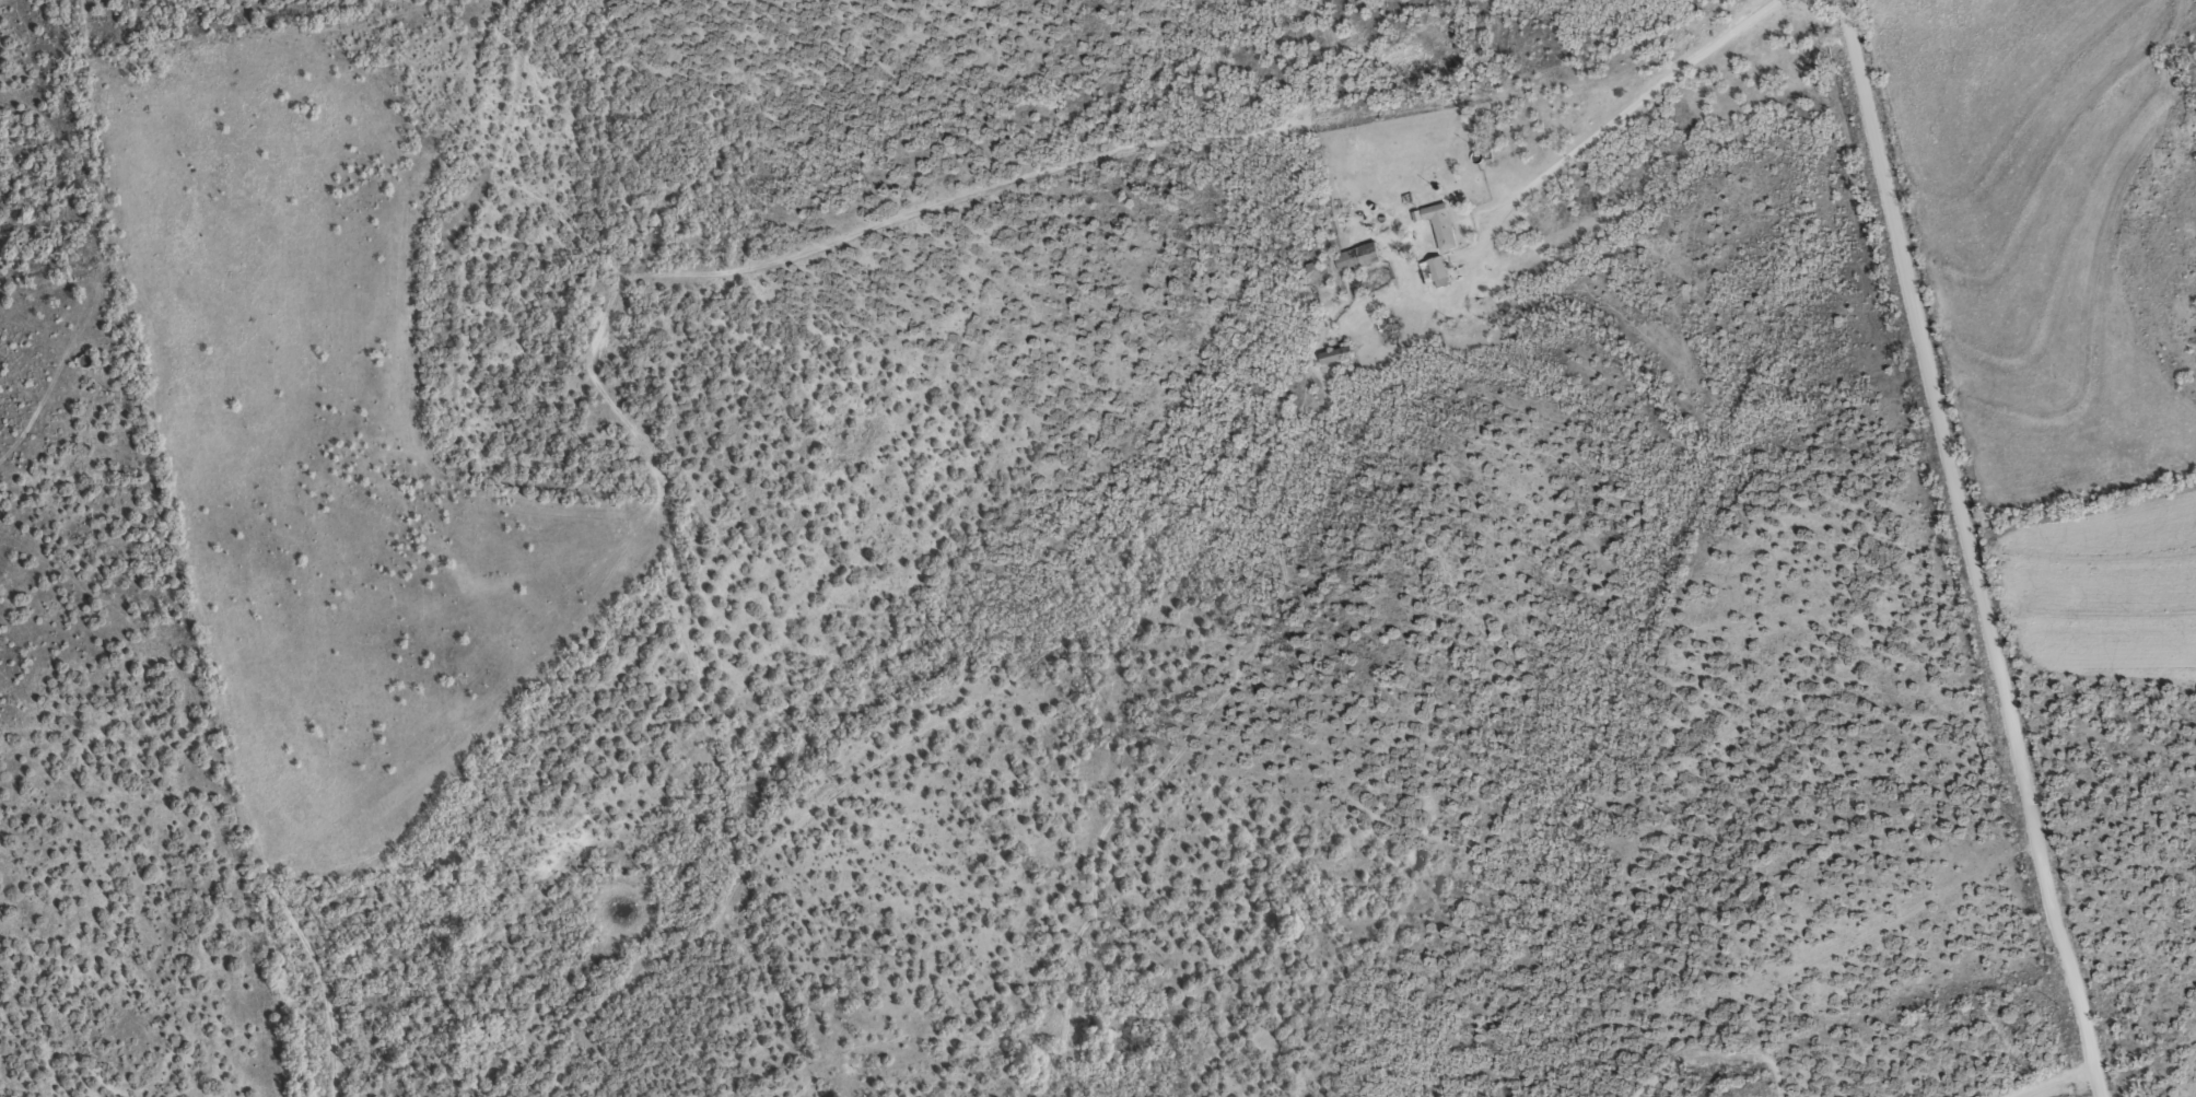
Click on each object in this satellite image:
building: (1437, 223)
building: (1356, 256)
building: (1435, 270)
building: (1335, 353)
road: (1233, 524)
road: (1969, 548)
road: (2056, 1083)

